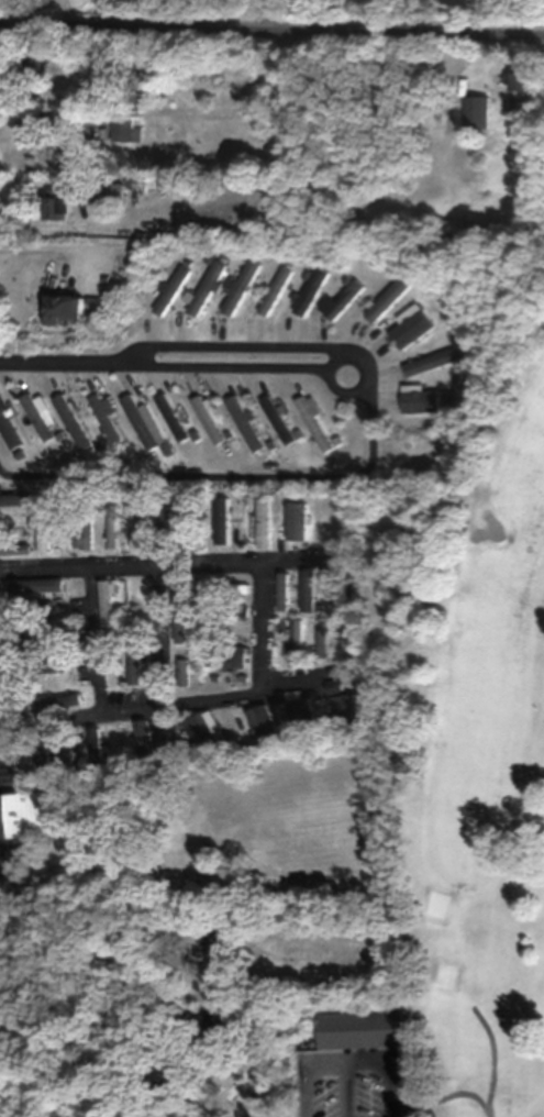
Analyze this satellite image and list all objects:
road: (271, 13)
road: (271, 26)
building: (30, 63)
building: (520, 81)
building: (476, 109)
building: (31, 126)
building: (124, 128)
building: (78, 190)
building: (106, 191)
building: (52, 203)
building: (240, 286)
building: (204, 287)
building: (168, 289)
building: (274, 289)
building: (308, 289)
building: (388, 297)
building: (343, 299)
building: (68, 306)
building: (408, 329)
road: (69, 350)
building: (430, 361)
road: (371, 372)
building: (417, 399)
building: (38, 416)
building: (108, 417)
building: (278, 418)
building: (73, 419)
building: (176, 419)
building: (140, 420)
building: (211, 420)
building: (246, 422)
building: (317, 423)
building: (8, 429)
road: (229, 464)
building: (14, 500)
building: (287, 519)
building: (265, 521)
building: (315, 521)
building: (166, 522)
building: (220, 522)
building: (142, 523)
building: (241, 523)
building: (62, 524)
building: (86, 526)
building: (112, 526)
building: (195, 527)
building: (41, 528)
building: (13, 546)
road: (162, 560)
building: (34, 584)
building: (229, 587)
building: (336, 591)
building: (309, 593)
building: (106, 601)
building: (32, 607)
building: (227, 610)
building: (43, 623)
building: (296, 640)
building: (34, 643)
building: (227, 654)
building: (133, 664)
building: (51, 666)
building: (109, 670)
building: (184, 671)
road: (303, 675)
road: (173, 697)
building: (57, 701)
building: (349, 703)
building: (303, 716)
building: (262, 722)
building: (201, 729)
building: (145, 739)
park: (455, 793)
building: (25, 804)
building: (177, 833)
building: (321, 1032)
road: (496, 1053)
building: (374, 1054)
road: (448, 1094)
road: (376, 1102)
parking lot: (362, 1103)

